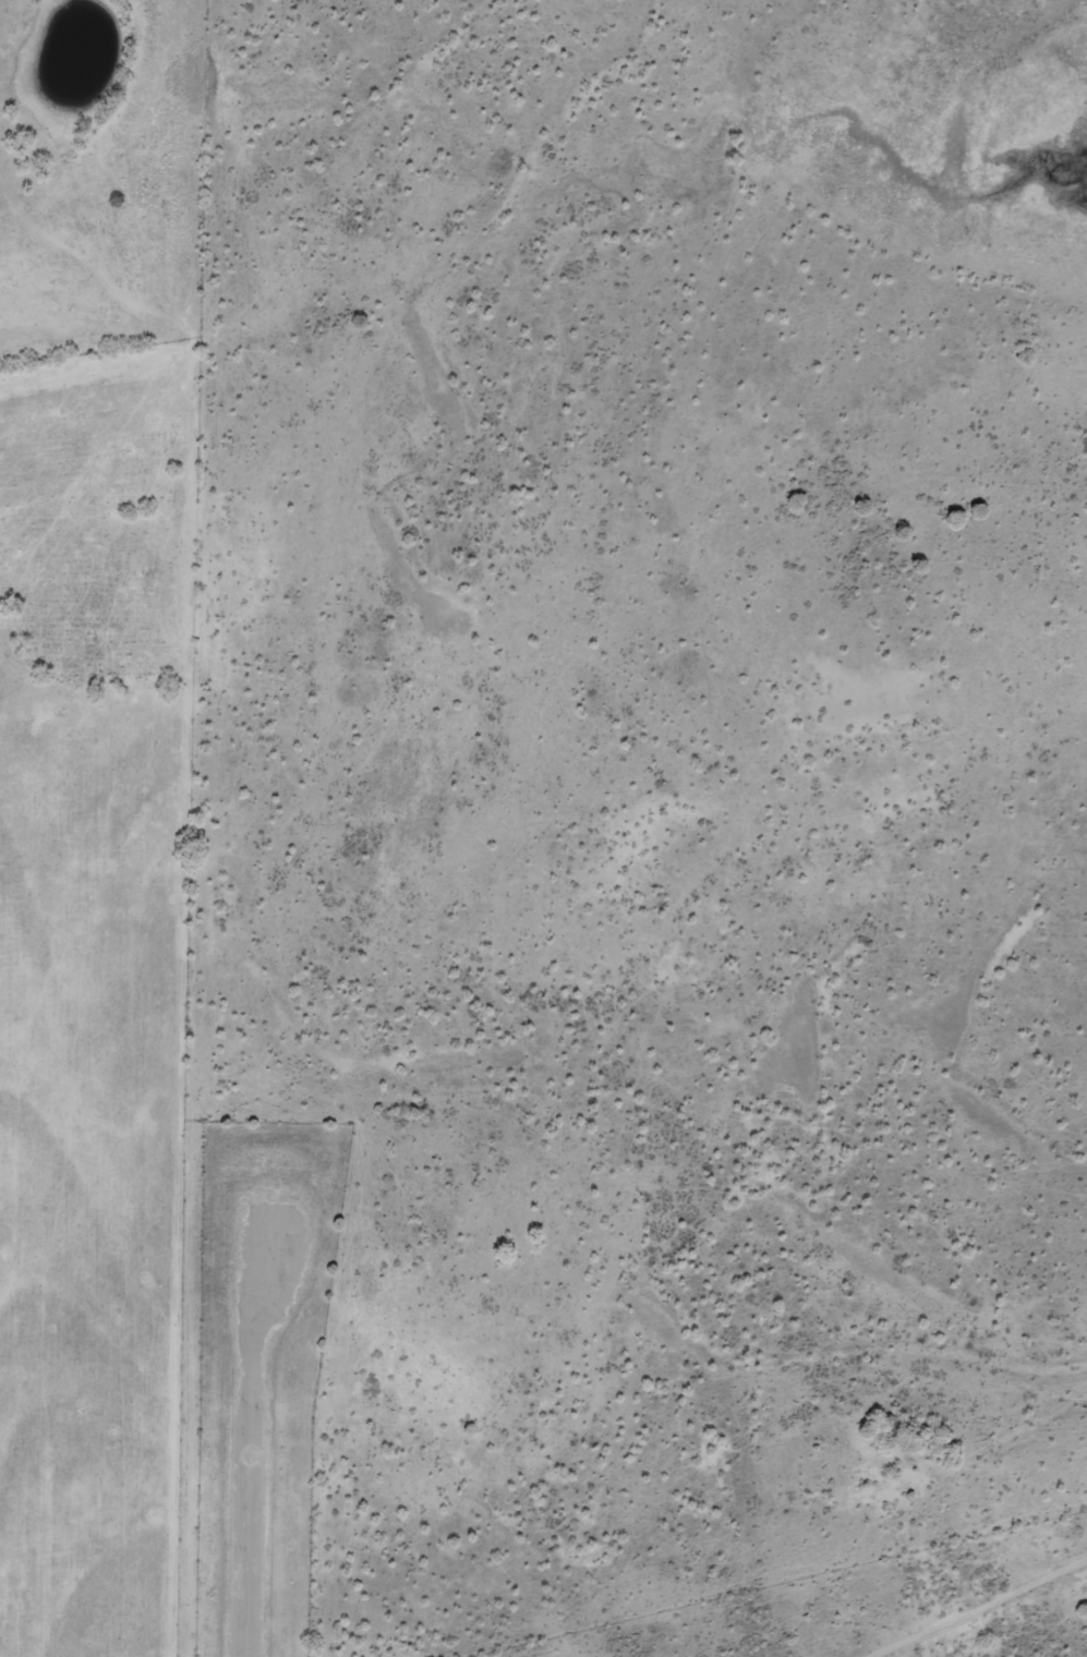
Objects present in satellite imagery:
airport runway: (249, 1425)
road: (989, 1620)

